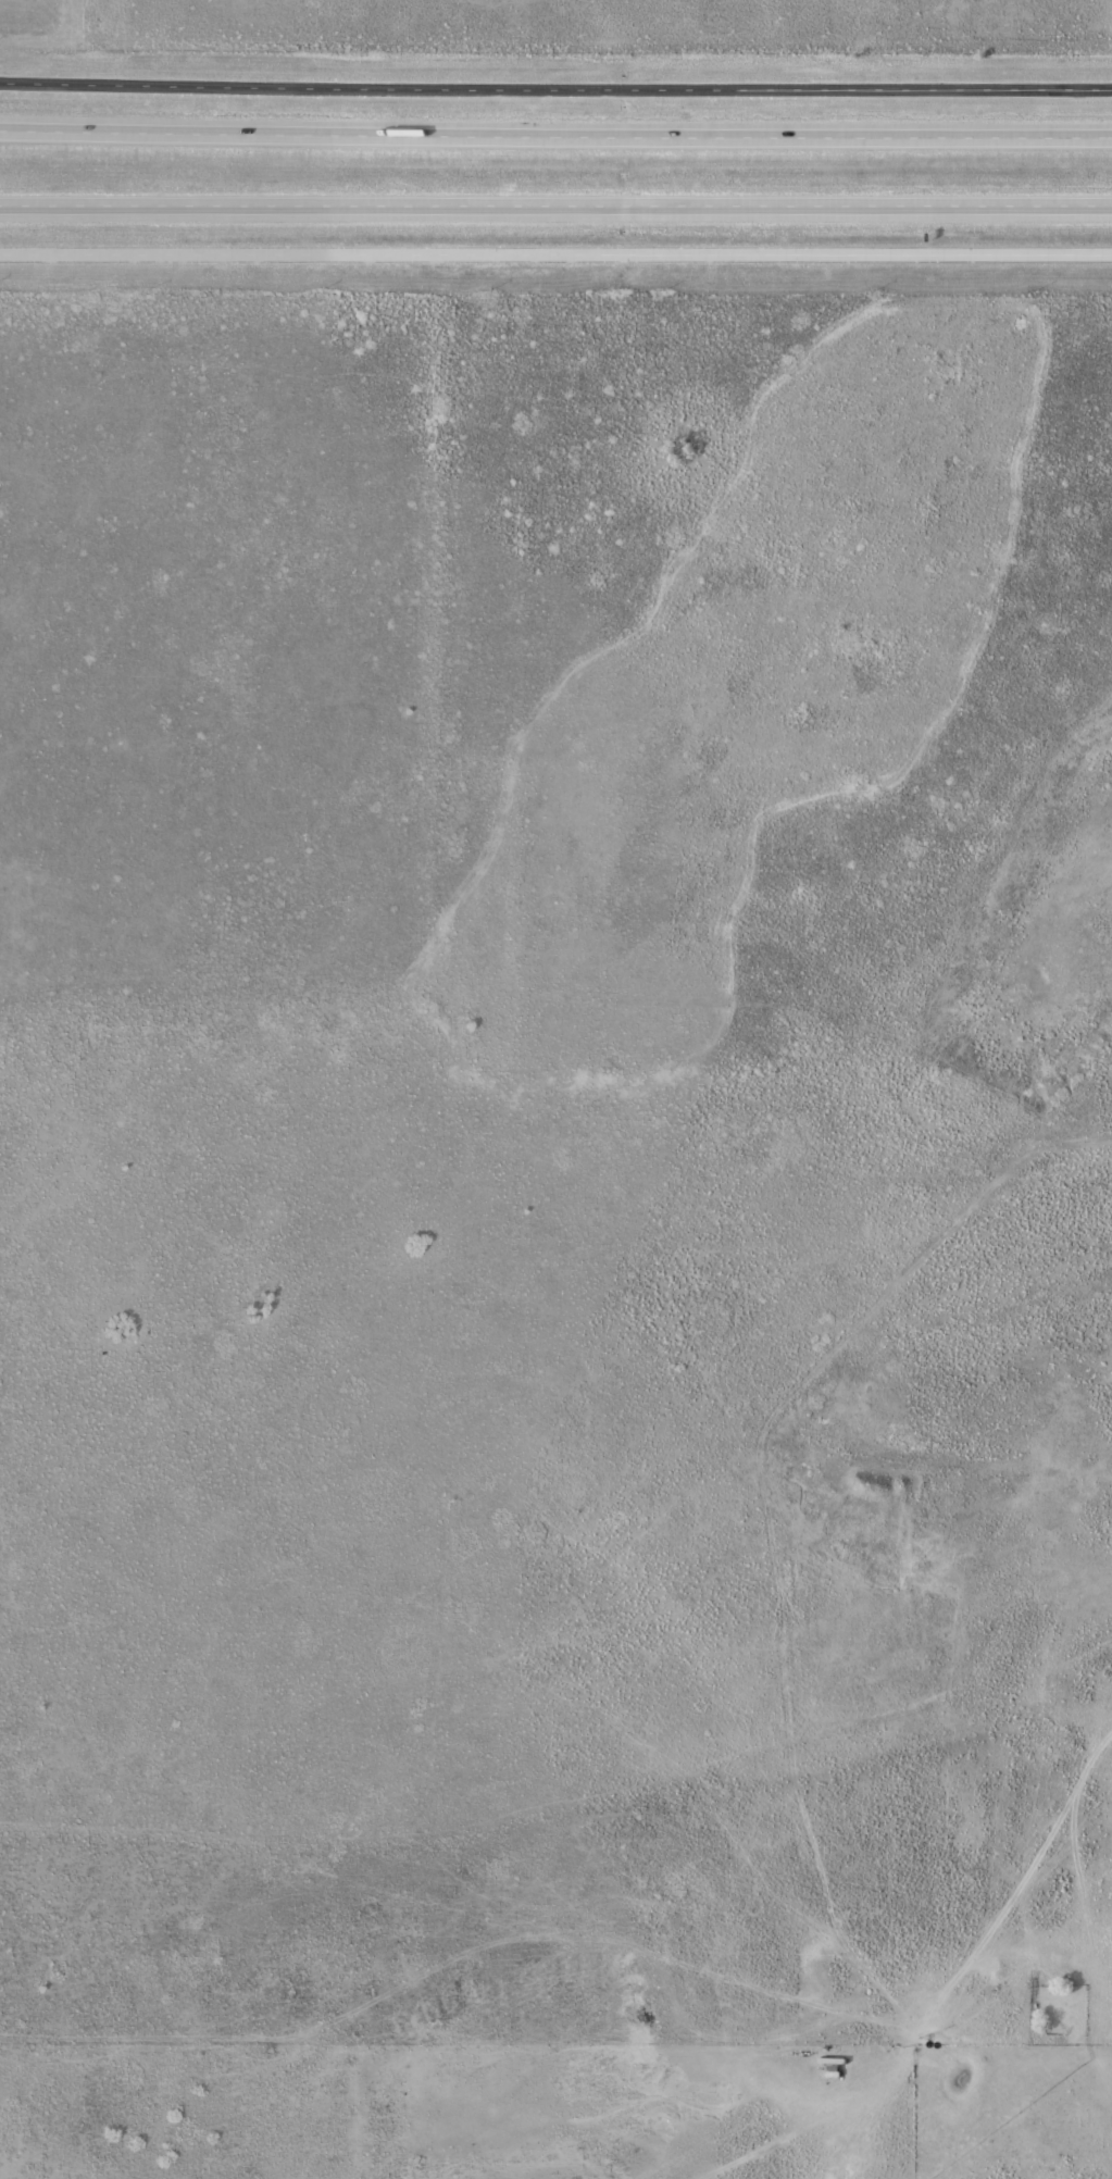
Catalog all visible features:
road: (555, 88)
road: (555, 135)
road: (555, 204)
road: (555, 253)

